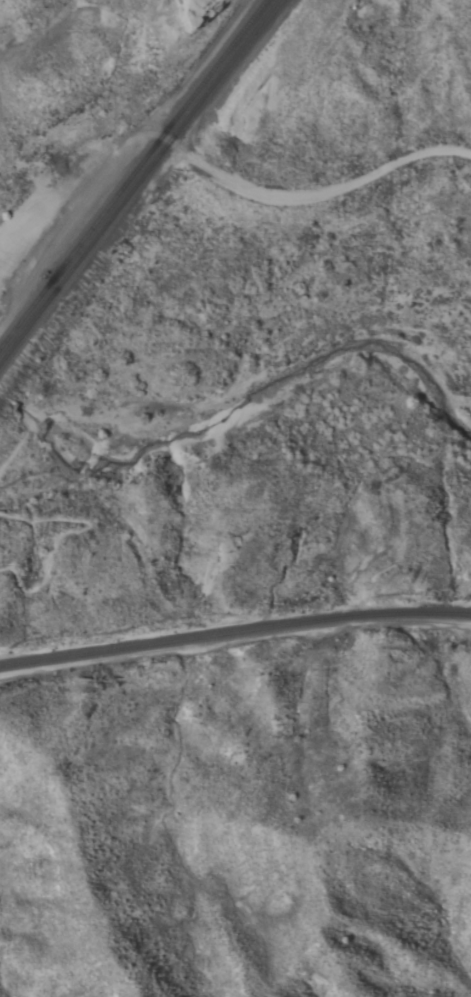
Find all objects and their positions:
road: (233, 72)
railway: (170, 125)
railway: (180, 127)
road: (214, 168)
road: (72, 222)
railway: (37, 299)
railway: (41, 308)
road: (22, 439)
road: (69, 534)
railway: (234, 632)
road: (234, 640)

